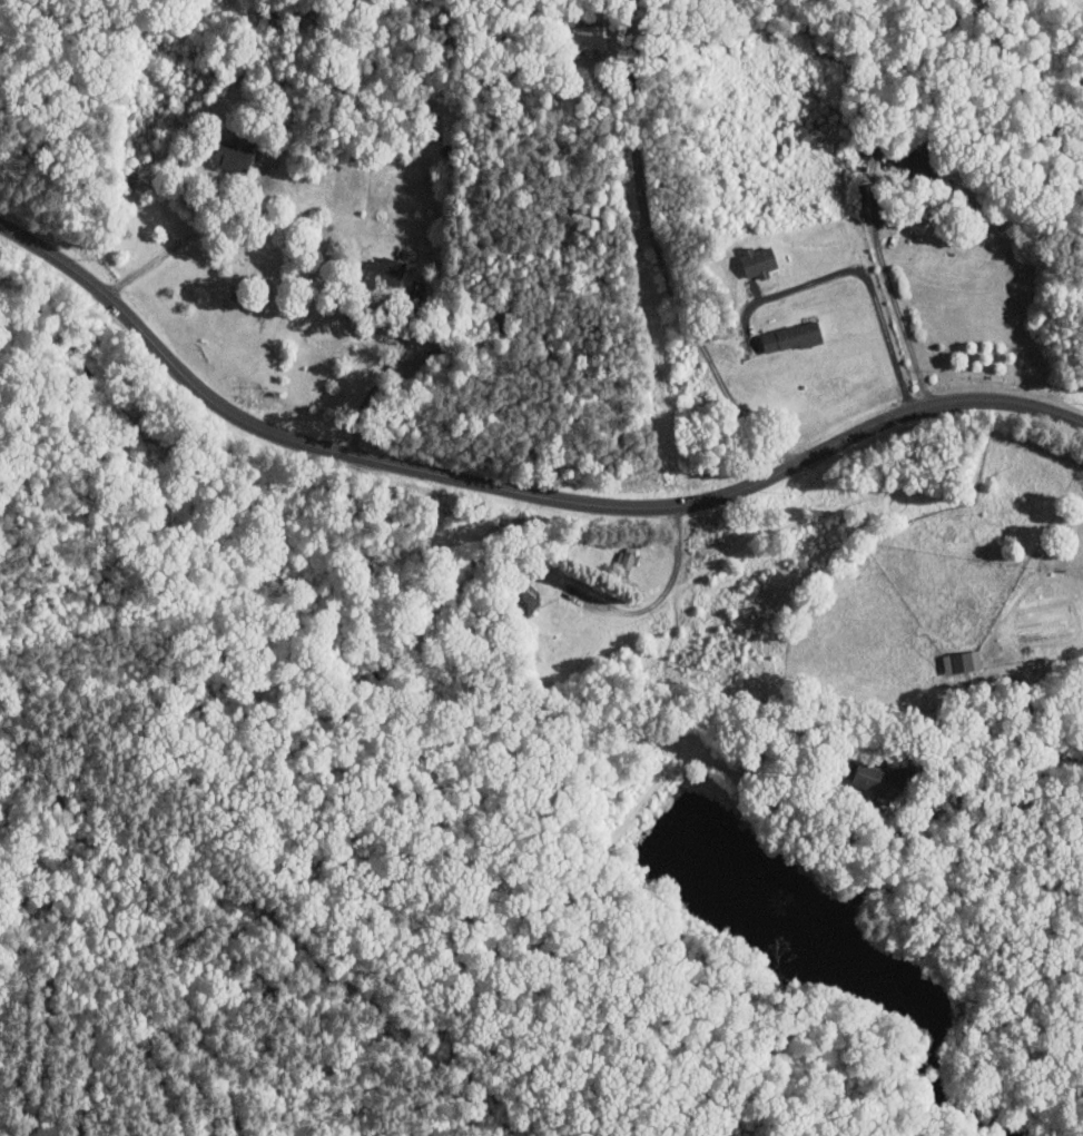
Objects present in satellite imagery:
building: (587, 37)
building: (232, 156)
building: (914, 161)
road: (191, 237)
building: (758, 260)
building: (385, 270)
road: (670, 277)
road: (872, 287)
road: (893, 293)
building: (792, 336)
road: (388, 369)
road: (515, 488)
road: (656, 601)
building: (962, 661)
road: (1002, 747)

